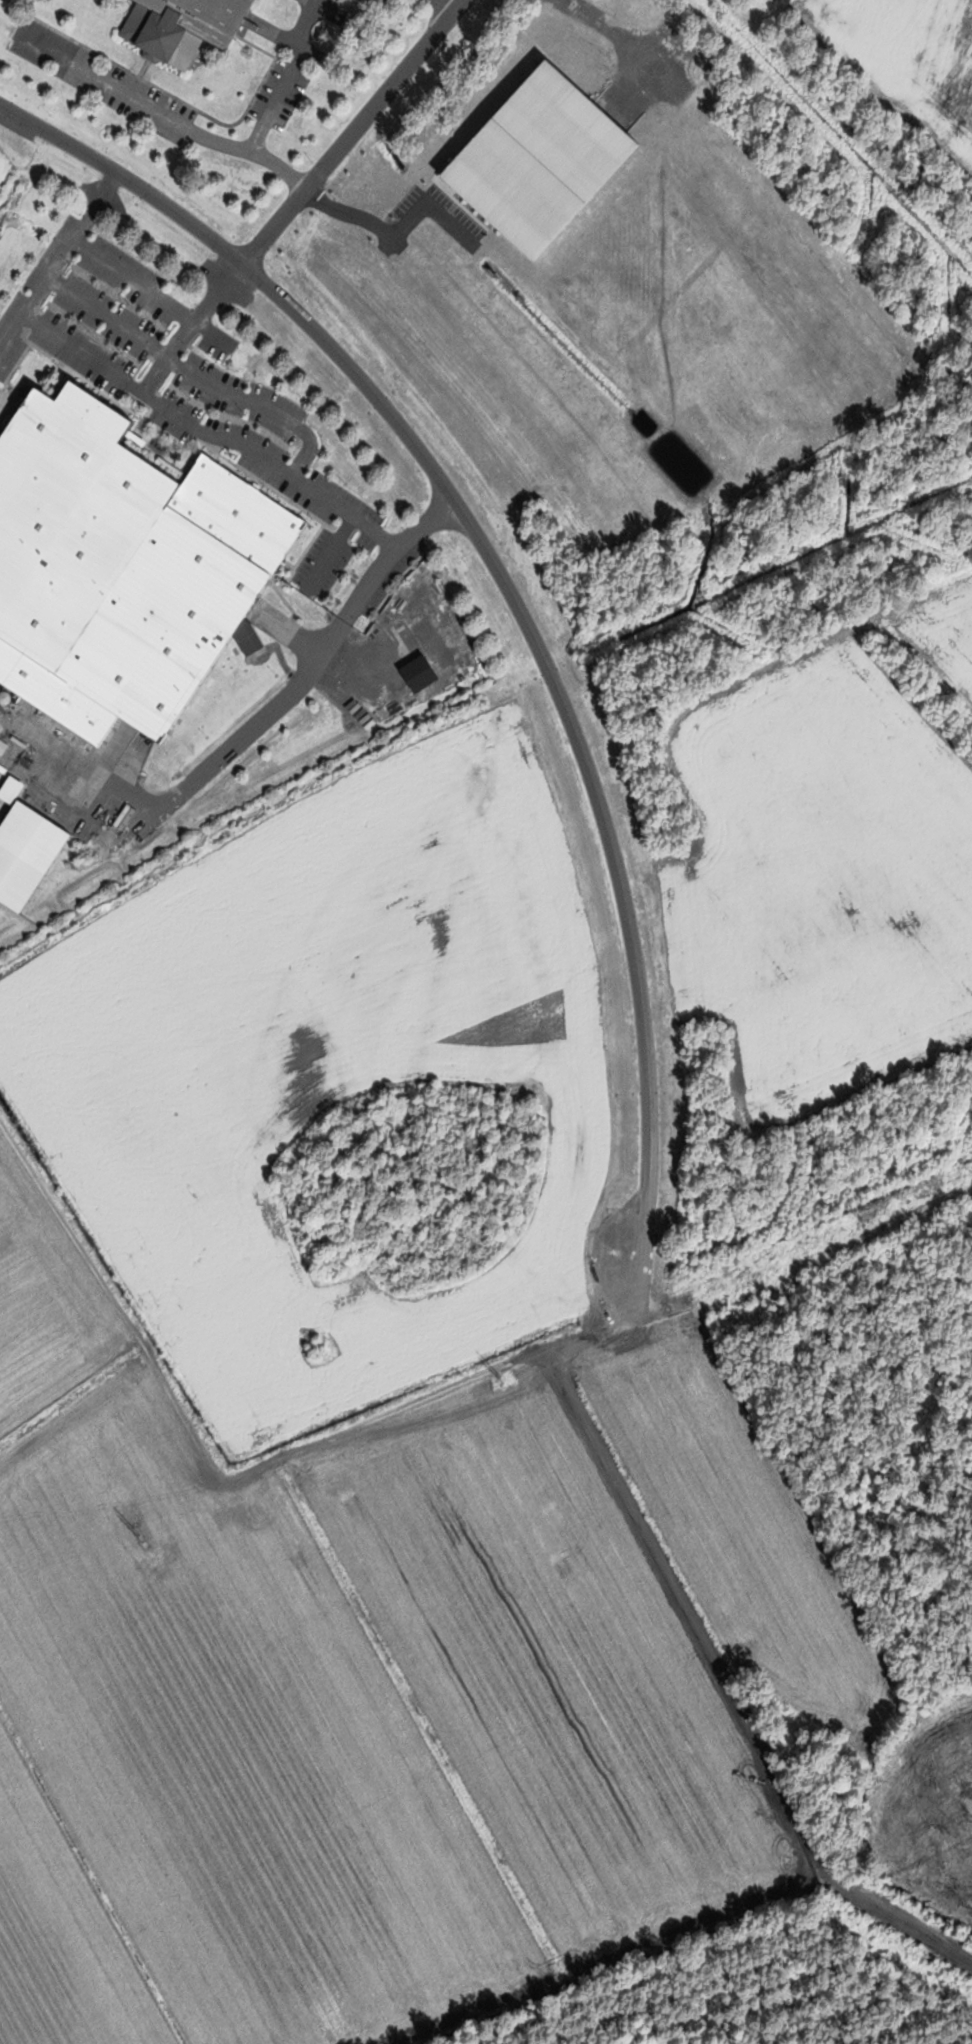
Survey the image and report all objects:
road: (447, 4)
building: (187, 27)
road: (287, 76)
road: (164, 112)
road: (352, 129)
road: (142, 292)
road: (10, 326)
road: (80, 349)
road: (193, 368)
road: (303, 481)
building: (124, 567)
road: (506, 591)
road: (235, 740)
building: (29, 861)
power tower: (864, 1221)
power tower: (504, 1378)
power tower: (142, 1537)

